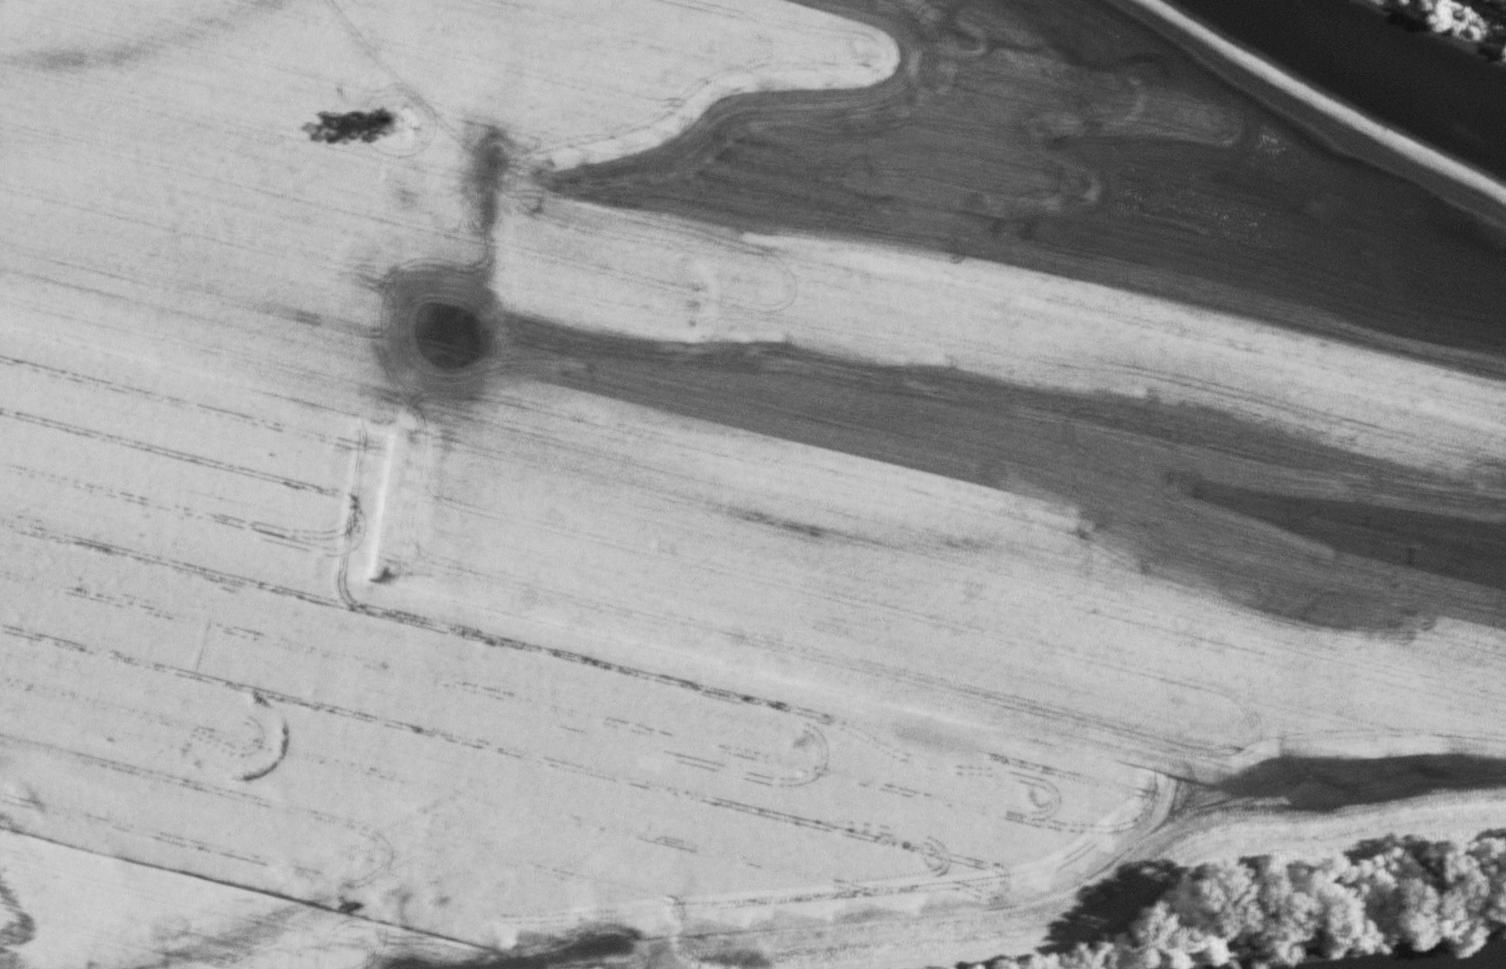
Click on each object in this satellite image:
road: (1503, 1)

